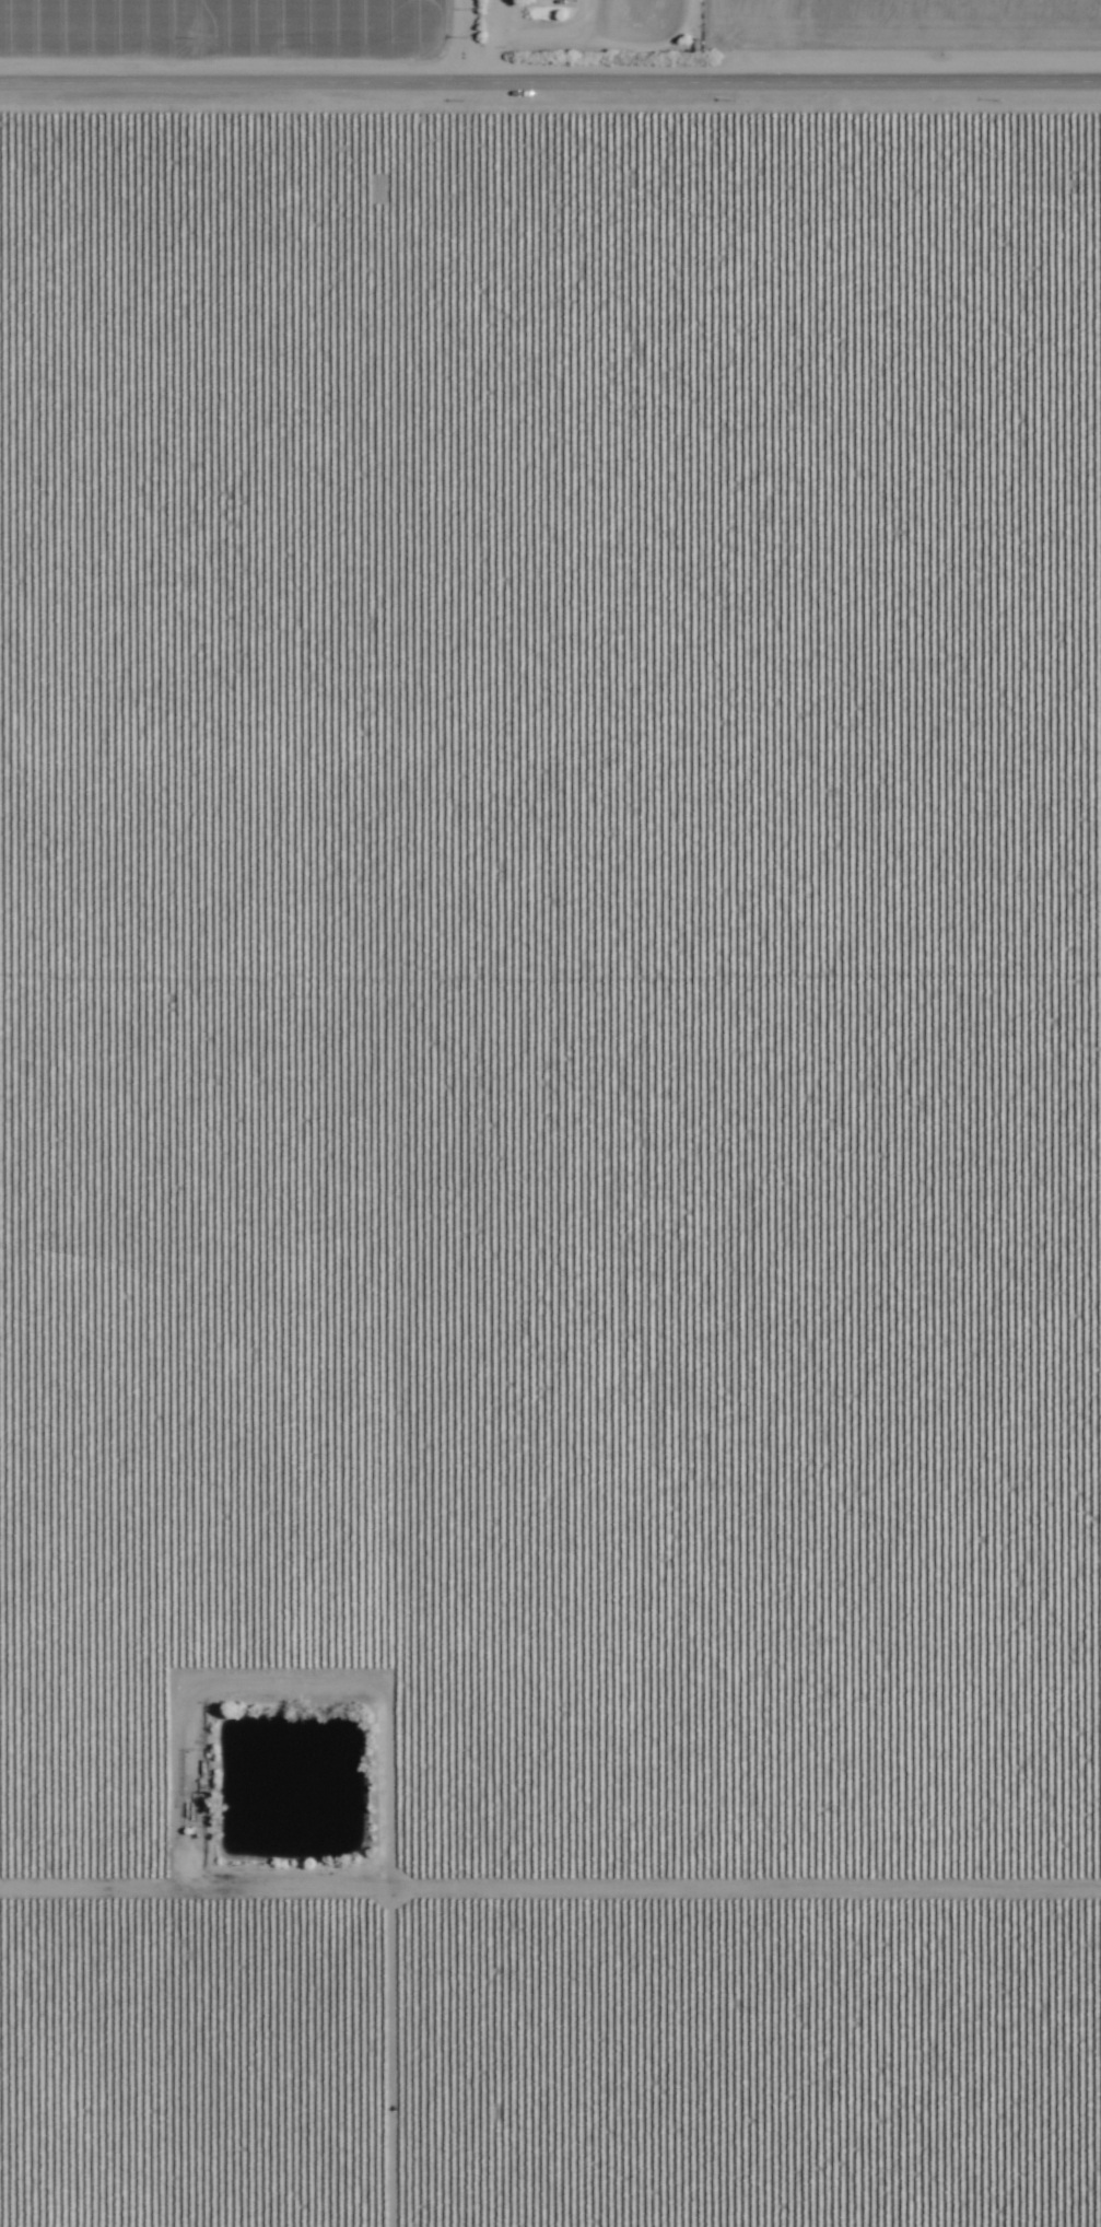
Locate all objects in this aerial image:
wastewater plant: (642, 20)
road: (425, 43)
road: (550, 84)
crop: (550, 1113)
wastewater plant: (289, 1788)
road: (550, 1889)
wastewater plant: (324, 1917)

